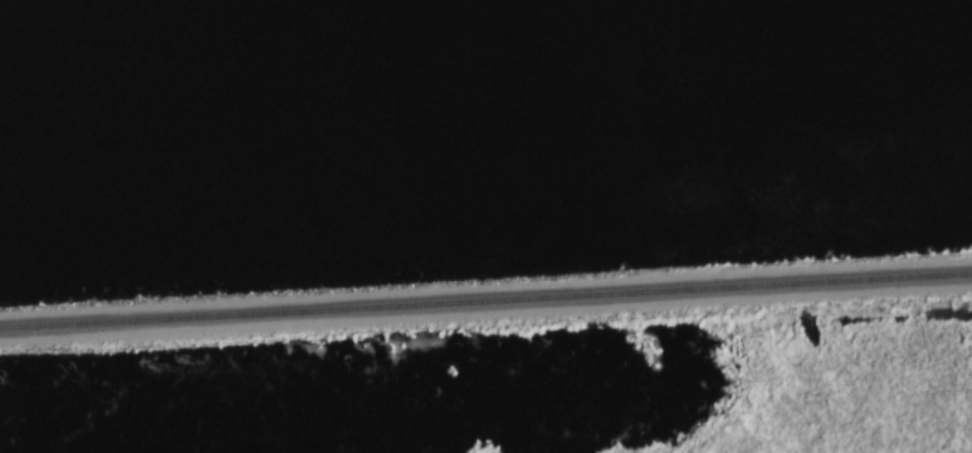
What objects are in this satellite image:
railway: (486, 302)

